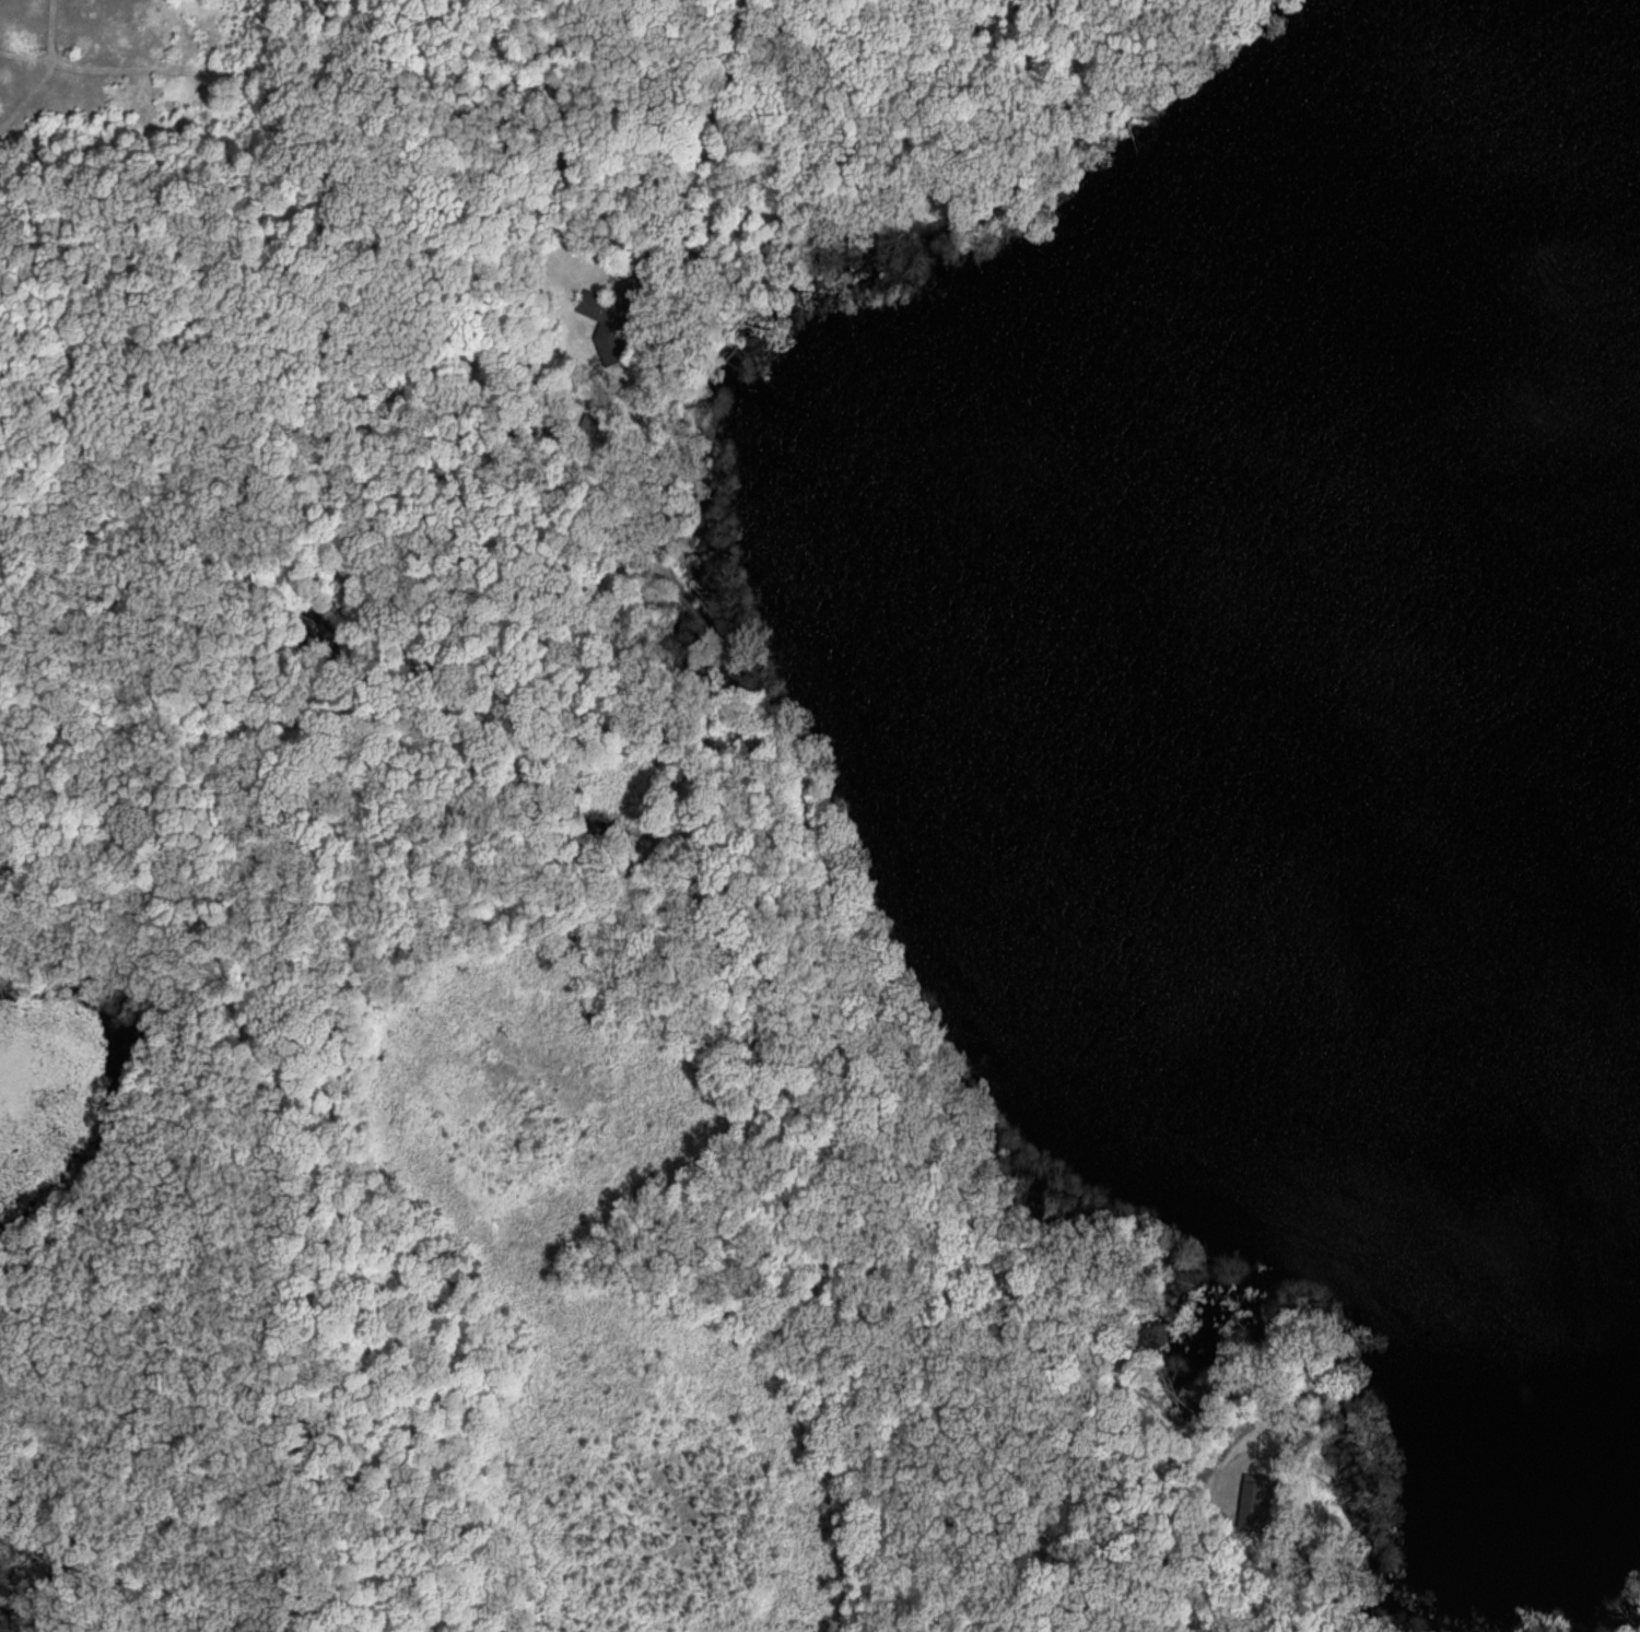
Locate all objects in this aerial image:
road: (1061, 50)
building: (608, 322)
road: (326, 413)
road: (778, 735)
building: (1254, 1500)

